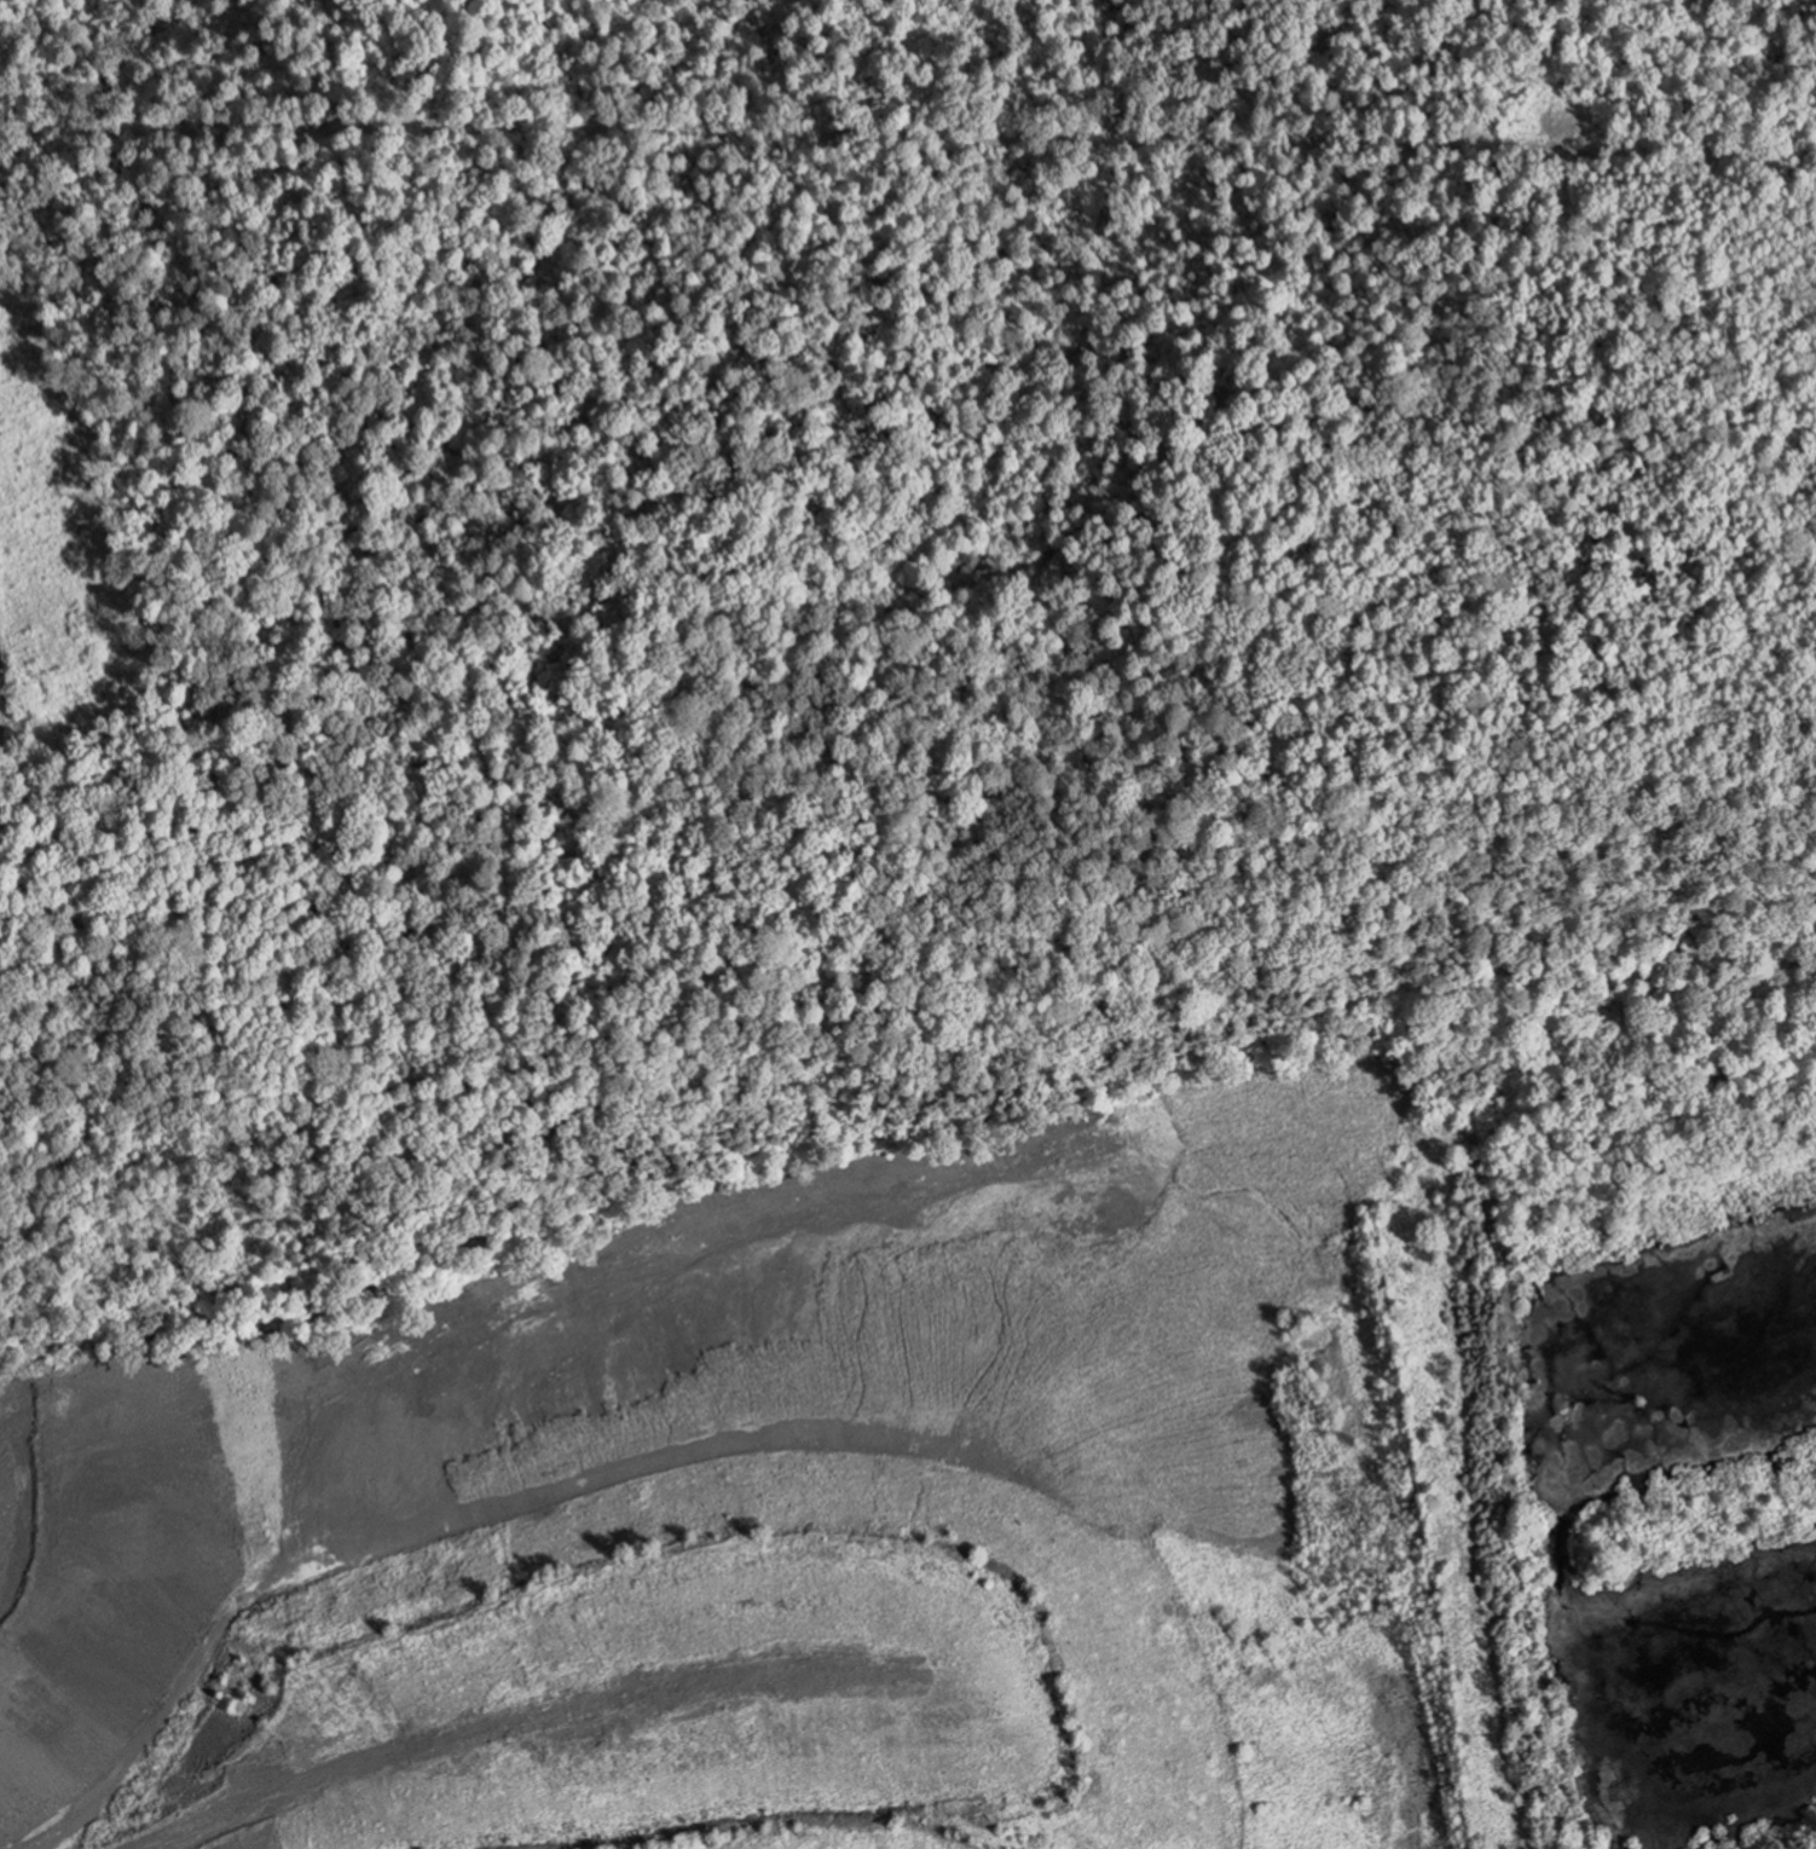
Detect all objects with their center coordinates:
road: (908, 132)
quarry: (753, 1548)
road: (368, 1747)

